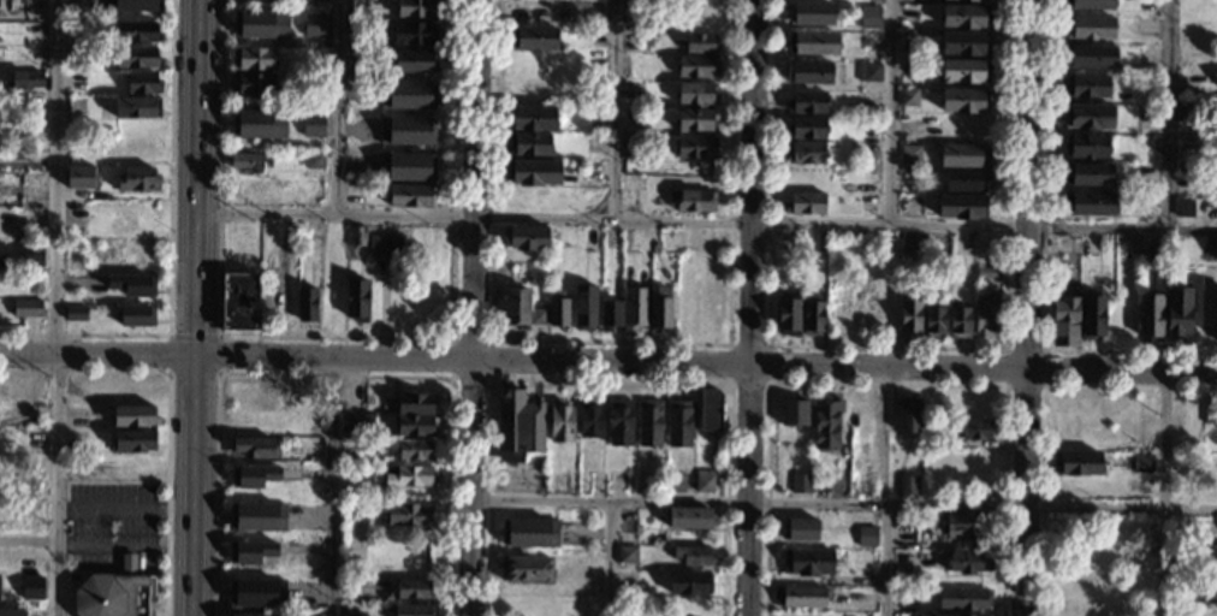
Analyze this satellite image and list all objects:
building: (985, 0)
building: (966, 1)
building: (136, 5)
building: (1087, 5)
building: (417, 8)
building: (811, 13)
building: (869, 16)
building: (964, 17)
building: (261, 23)
building: (315, 24)
building: (1090, 28)
building: (136, 32)
building: (414, 34)
building: (533, 38)
building: (700, 43)
building: (812, 43)
building: (964, 43)
building: (1090, 57)
building: (136, 58)
building: (253, 59)
building: (415, 61)
building: (696, 67)
building: (963, 71)
building: (868, 72)
building: (808, 73)
building: (24, 81)
building: (142, 83)
building: (253, 84)
building: (1086, 87)
building: (402, 94)
building: (696, 94)
building: (908, 97)
building: (963, 101)
building: (807, 102)
road: (337, 107)
building: (137, 108)
road: (612, 109)
road: (892, 112)
road: (1169, 113)
building: (532, 118)
building: (1088, 118)
building: (695, 120)
building: (262, 122)
building: (313, 122)
building: (805, 129)
building: (404, 130)
road: (196, 134)
building: (529, 144)
building: (1086, 146)
building: (630, 148)
building: (695, 148)
building: (805, 153)
building: (910, 154)
building: (962, 155)
building: (314, 160)
building: (249, 162)
building: (404, 166)
building: (533, 173)
building: (1088, 174)
building: (81, 178)
building: (803, 178)
building: (137, 179)
building: (964, 180)
building: (411, 195)
building: (693, 201)
building: (805, 203)
building: (1088, 205)
building: (961, 207)
building: (1182, 207)
road: (705, 221)
building: (356, 236)
building: (528, 239)
building: (789, 241)
building: (909, 244)
building: (385, 245)
road: (170, 250)
building: (1, 254)
building: (31, 254)
building: (811, 254)
road: (1046, 259)
building: (985, 273)
building: (132, 284)
building: (356, 300)
building: (241, 301)
building: (305, 304)
road: (473, 307)
road: (750, 307)
building: (26, 308)
road: (58, 308)
building: (516, 308)
building: (583, 308)
building: (634, 308)
road: (1028, 308)
building: (558, 309)
building: (659, 310)
road: (194, 312)
building: (76, 313)
building: (1177, 313)
building: (1210, 313)
building: (539, 314)
building: (135, 315)
building: (608, 315)
building: (788, 315)
building: (812, 315)
building: (985, 315)
building: (1092, 316)
building: (1150, 318)
building: (909, 319)
building: (933, 321)
building: (1064, 321)
building: (958, 322)
road: (192, 333)
road: (334, 336)
road: (491, 338)
road: (611, 339)
road: (768, 343)
road: (889, 344)
road: (1044, 348)
road: (96, 357)
road: (705, 363)
road: (194, 373)
road: (334, 374)
road: (608, 377)
road: (885, 381)
building: (414, 404)
road: (194, 409)
road: (167, 410)
building: (710, 410)
building: (794, 410)
road: (1043, 413)
building: (908, 414)
building: (1210, 414)
building: (132, 416)
building: (590, 419)
building: (560, 422)
building: (619, 422)
building: (355, 423)
building: (648, 423)
building: (678, 423)
building: (825, 423)
building: (414, 426)
building: (517, 426)
building: (974, 430)
building: (933, 438)
building: (132, 440)
building: (387, 446)
building: (255, 448)
building: (414, 451)
building: (381, 461)
building: (1142, 462)
building: (1076, 464)
building: (253, 475)
building: (408, 476)
building: (704, 481)
building: (673, 482)
building: (799, 482)
building: (907, 485)
road: (332, 487)
road: (1166, 493)
road: (843, 502)
road: (124, 508)
building: (408, 515)
building: (257, 519)
building: (690, 519)
building: (968, 523)
parking lot: (109, 526)
building: (799, 528)
building: (529, 531)
building: (865, 534)
road: (192, 538)
road: (124, 543)
building: (250, 551)
building: (627, 555)
building: (693, 556)
road: (607, 557)
building: (807, 559)
road: (887, 559)
building: (966, 562)
building: (129, 564)
road: (129, 570)
building: (526, 570)
building: (689, 582)
building: (926, 582)
building: (32, 587)
building: (412, 590)
building: (256, 592)
building: (115, 597)
building: (803, 597)
building: (963, 599)
building: (411, 610)
building: (11, 612)
building: (236, 615)
building: (957, 615)

